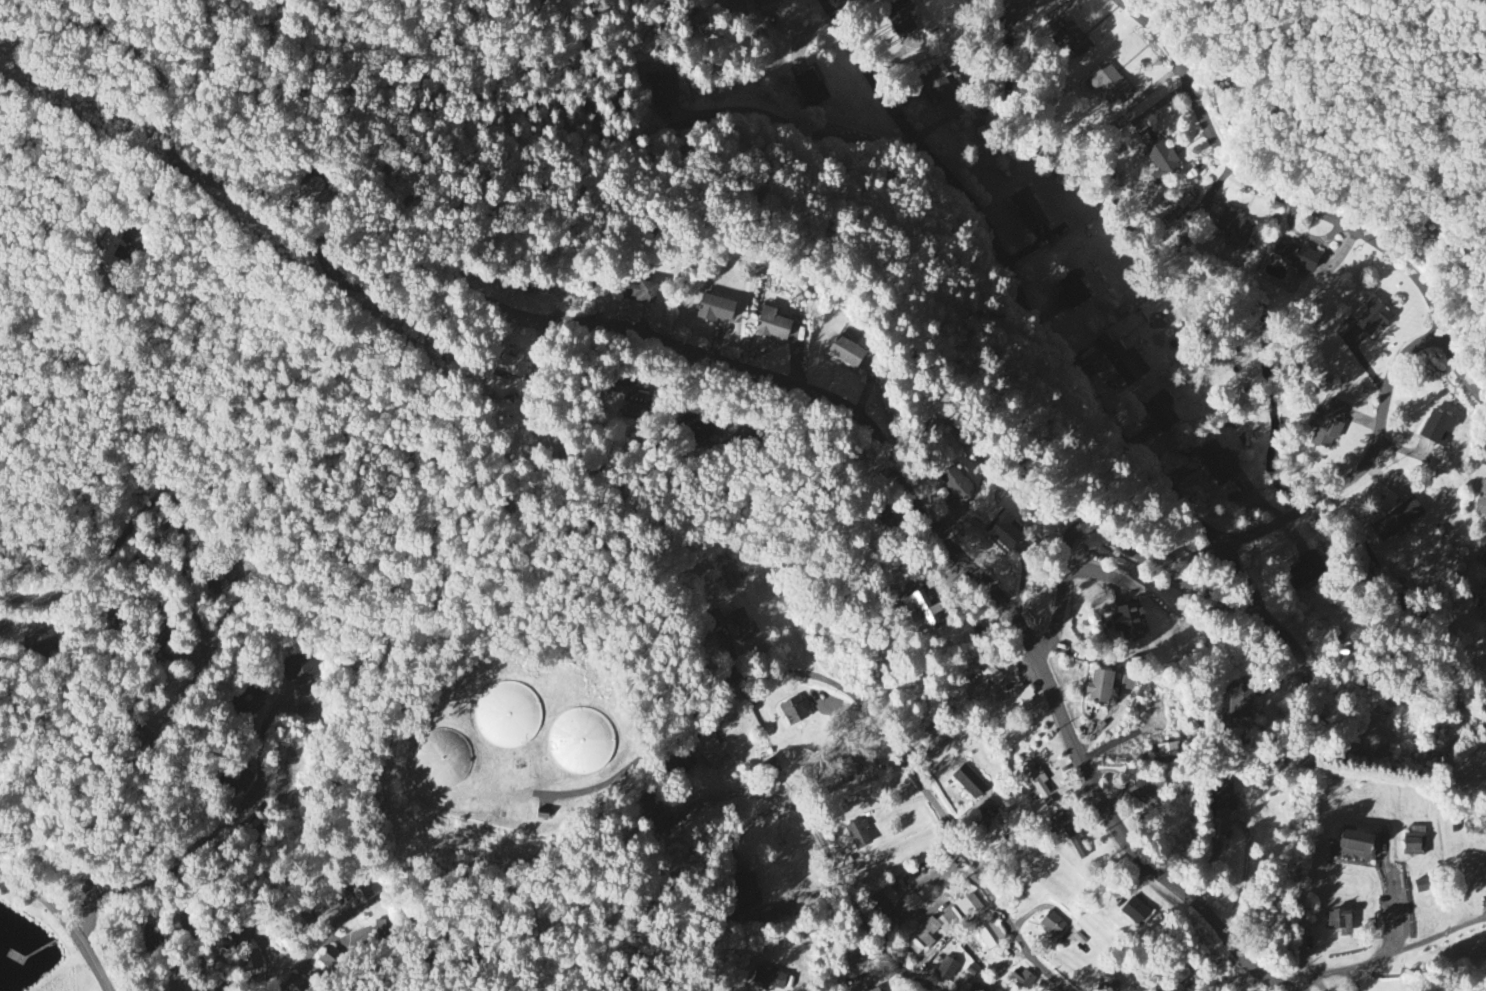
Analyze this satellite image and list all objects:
building: (765, 4)
building: (902, 26)
building: (1073, 41)
building: (940, 85)
building: (1109, 85)
building: (811, 89)
building: (661, 91)
road: (799, 127)
building: (1161, 162)
road: (1264, 188)
building: (1027, 211)
building: (1229, 222)
building: (117, 241)
building: (1294, 256)
building: (1072, 291)
building: (641, 292)
building: (714, 309)
building: (1372, 317)
building: (772, 326)
building: (846, 353)
road: (712, 358)
building: (1124, 362)
building: (511, 367)
road: (1460, 371)
building: (628, 401)
building: (1161, 413)
road: (1104, 416)
building: (1330, 425)
building: (1437, 429)
building: (698, 431)
building: (1217, 464)
building: (956, 484)
building: (1481, 501)
building: (887, 518)
building: (1397, 521)
building: (1002, 530)
road: (1116, 539)
building: (1485, 559)
building: (1311, 566)
road: (1247, 583)
building: (224, 584)
building: (1483, 602)
building: (917, 612)
building: (1130, 623)
building: (742, 625)
road: (203, 627)
road: (1287, 638)
building: (42, 641)
building: (302, 670)
building: (1100, 689)
building: (253, 701)
building: (1017, 702)
building: (1241, 706)
building: (795, 712)
building: (509, 714)
storage tank: (509, 714)
building: (584, 740)
storage tank: (584, 740)
road: (893, 745)
building: (709, 750)
building: (1168, 752)
building: (443, 757)
storage tank: (443, 757)
building: (242, 778)
building: (1037, 782)
building: (969, 783)
road: (598, 785)
building: (1143, 795)
building: (1224, 797)
building: (545, 813)
building: (659, 824)
road: (230, 825)
road: (749, 826)
road: (1247, 829)
building: (858, 835)
building: (1075, 841)
building: (1415, 844)
building: (1354, 845)
road: (828, 851)
building: (361, 893)
building: (747, 896)
road: (789, 901)
building: (884, 901)
road: (902, 903)
building: (969, 907)
road: (1392, 907)
building: (1134, 911)
road: (66, 921)
building: (1340, 922)
road: (886, 925)
building: (944, 925)
building: (1051, 925)
building: (990, 935)
building: (240, 941)
building: (920, 943)
road: (307, 956)
road: (1390, 956)
building: (251, 961)
building: (857, 961)
building: (947, 970)
building: (1022, 979)
building: (769, 980)
building: (1108, 985)
building: (293, 986)
road: (930, 986)
building: (979, 988)
building: (862, 989)
building: (877, 990)

